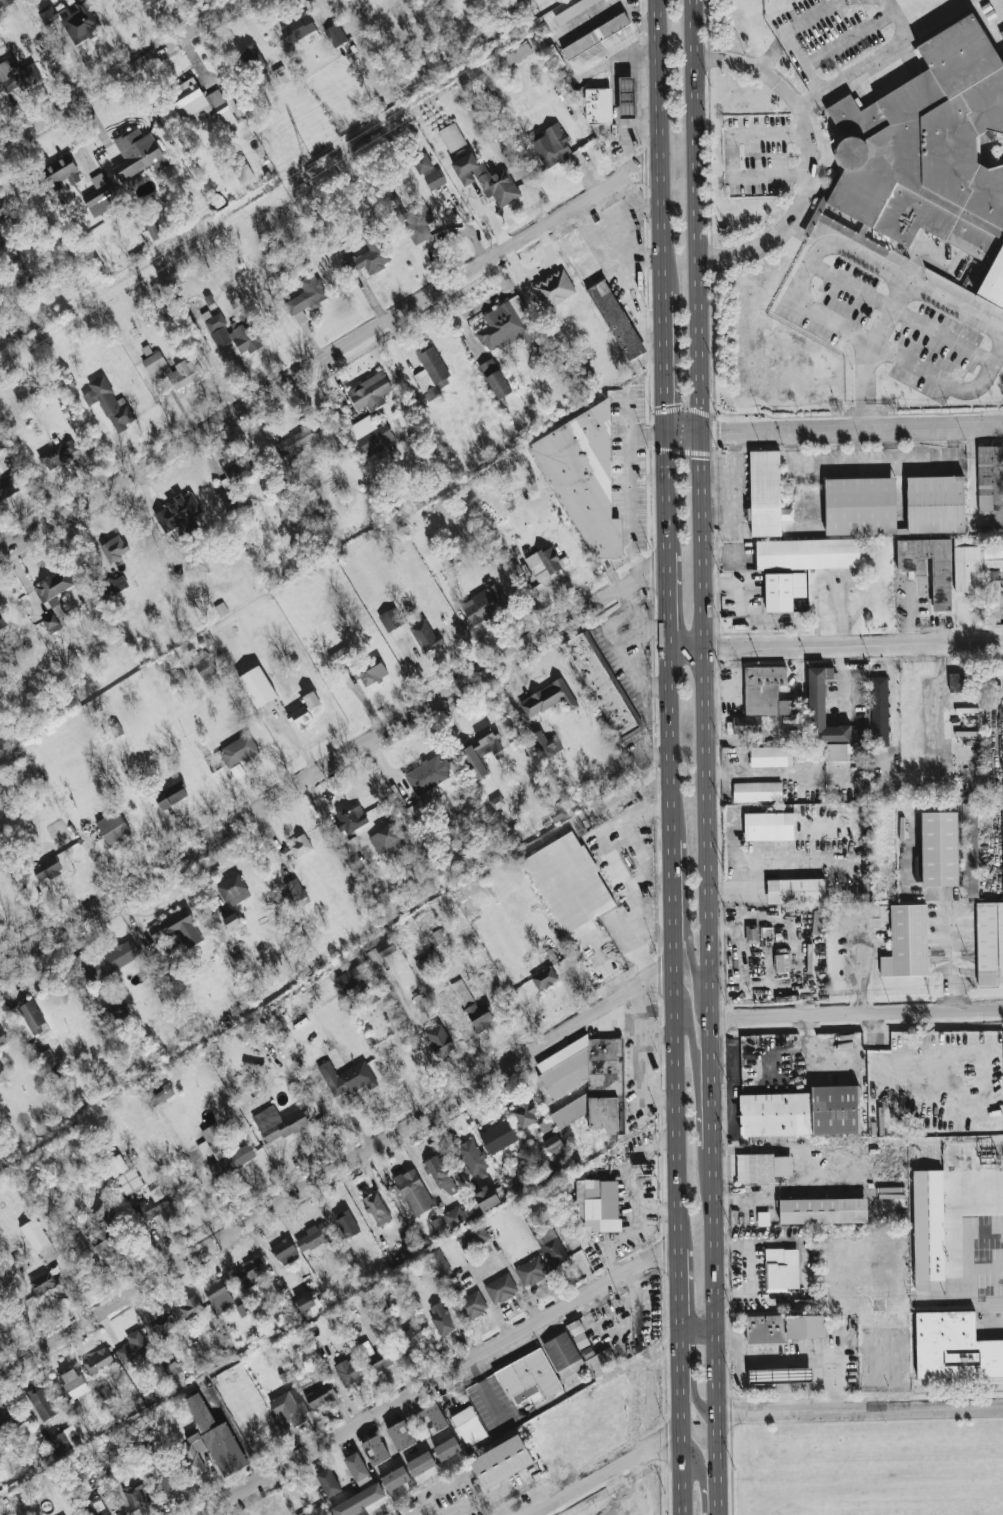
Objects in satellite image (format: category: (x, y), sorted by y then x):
building: (405, 0)
building: (5, 2)
building: (146, 2)
building: (574, 10)
road: (898, 19)
building: (73, 20)
building: (298, 28)
power tower: (544, 31)
building: (1001, 33)
road: (783, 34)
building: (336, 35)
building: (595, 35)
road: (849, 40)
road: (39, 55)
building: (516, 55)
building: (555, 57)
building: (1002, 57)
building: (254, 59)
road: (852, 71)
road: (119, 72)
building: (17, 74)
building: (627, 97)
building: (201, 103)
building: (598, 105)
building: (451, 136)
road: (659, 137)
building: (553, 146)
building: (931, 151)
building: (137, 153)
road: (732, 156)
road: (811, 157)
building: (422, 163)
building: (242, 171)
power tower: (314, 174)
building: (485, 178)
building: (434, 179)
building: (100, 196)
building: (4, 209)
building: (411, 219)
building: (151, 232)
road: (846, 249)
road: (924, 249)
building: (371, 253)
building: (553, 288)
building: (601, 292)
building: (306, 297)
power tower: (92, 307)
road: (888, 311)
road: (901, 314)
building: (507, 324)
building: (235, 333)
road: (664, 353)
road: (330, 359)
building: (173, 369)
building: (431, 372)
building: (586, 376)
building: (494, 378)
road: (945, 382)
road: (864, 385)
building: (370, 391)
building: (109, 402)
road: (628, 416)
road: (852, 429)
road: (684, 433)
traffic signals: (702, 433)
traffic signals: (666, 434)
building: (371, 435)
building: (298, 439)
building: (58, 453)
building: (239, 471)
building: (584, 477)
building: (991, 481)
building: (8, 485)
road: (629, 487)
building: (766, 493)
road: (667, 503)
building: (937, 504)
building: (862, 506)
building: (178, 511)
building: (114, 548)
building: (808, 553)
building: (993, 553)
building: (544, 562)
building: (967, 564)
building: (114, 583)
building: (52, 587)
building: (942, 590)
building: (780, 592)
building: (993, 595)
road: (748, 599)
building: (484, 603)
road: (668, 612)
road: (910, 615)
building: (391, 619)
building: (2, 621)
building: (50, 623)
building: (425, 635)
road: (835, 646)
building: (341, 655)
building: (208, 668)
building: (370, 672)
building: (957, 682)
building: (257, 686)
building: (602, 686)
building: (857, 687)
building: (547, 697)
building: (761, 698)
building: (311, 700)
road: (890, 706)
building: (822, 711)
building: (879, 711)
building: (300, 715)
building: (545, 744)
building: (238, 750)
building: (481, 750)
building: (837, 752)
building: (769, 756)
road: (709, 757)
road: (333, 762)
building: (237, 770)
building: (428, 774)
road: (759, 778)
building: (757, 791)
building: (171, 794)
building: (0, 798)
building: (495, 802)
building: (414, 811)
building: (1002, 817)
building: (352, 818)
building: (769, 826)
building: (113, 827)
building: (385, 839)
building: (295, 848)
building: (940, 849)
building: (970, 850)
road: (766, 866)
building: (46, 868)
road: (619, 868)
building: (918, 868)
building: (568, 881)
building: (233, 889)
building: (797, 891)
building: (295, 893)
building: (0, 908)
building: (231, 920)
building: (176, 928)
road: (687, 928)
building: (751, 932)
building: (437, 936)
building: (908, 941)
building: (990, 943)
building: (380, 951)
road: (739, 954)
building: (108, 960)
road: (953, 961)
building: (428, 963)
building: (782, 963)
building: (352, 976)
building: (544, 977)
building: (373, 992)
building: (421, 1002)
building: (472, 1007)
road: (858, 1014)
building: (29, 1018)
road: (417, 1033)
building: (2, 1039)
building: (439, 1039)
road: (397, 1049)
road: (851, 1053)
road: (793, 1055)
building: (1, 1068)
building: (346, 1078)
road: (676, 1083)
road: (733, 1087)
building: (605, 1088)
building: (164, 1093)
road: (697, 1094)
building: (803, 1112)
road: (327, 1113)
building: (524, 1114)
building: (279, 1123)
building: (497, 1136)
building: (214, 1137)
building: (552, 1143)
building: (472, 1157)
building: (231, 1160)
building: (762, 1167)
road: (334, 1170)
road: (812, 1170)
building: (123, 1174)
building: (441, 1176)
building: (413, 1191)
building: (486, 1197)
building: (939, 1198)
building: (158, 1202)
building: (598, 1204)
building: (377, 1208)
building: (823, 1210)
building: (460, 1215)
building: (346, 1224)
building: (439, 1226)
building: (34, 1234)
building: (312, 1237)
building: (473, 1237)
building: (105, 1243)
building: (551, 1246)
road: (971, 1247)
building: (285, 1250)
building: (438, 1262)
road: (490, 1265)
road: (746, 1268)
building: (781, 1269)
building: (532, 1270)
building: (251, 1271)
building: (42, 1282)
building: (500, 1287)
building: (218, 1294)
building: (305, 1302)
building: (470, 1305)
building: (190, 1307)
building: (440, 1318)
building: (164, 1322)
building: (786, 1327)
road: (698, 1331)
building: (407, 1340)
building: (132, 1346)
building: (955, 1347)
building: (577, 1355)
road: (797, 1355)
road: (798, 1360)
building: (98, 1361)
building: (377, 1361)
road: (764, 1361)
road: (781, 1361)
building: (168, 1363)
building: (350, 1371)
road: (798, 1373)
road: (765, 1374)
road: (781, 1374)
building: (780, 1375)
building: (527, 1378)
road: (441, 1379)
road: (690, 1379)
road: (799, 1382)
building: (73, 1383)
road: (765, 1383)
road: (776, 1386)
building: (104, 1392)
building: (322, 1396)
road: (782, 1396)
building: (41, 1402)
building: (288, 1405)
building: (73, 1408)
road: (860, 1409)
building: (10, 1417)
building: (433, 1418)
building: (468, 1425)
building: (400, 1435)
building: (216, 1437)
road: (237, 1438)
building: (63, 1441)
building: (0, 1448)
building: (447, 1448)
building: (0, 1449)
building: (375, 1449)
building: (192, 1455)
building: (501, 1461)
building: (420, 1463)
building: (108, 1465)
building: (357, 1469)
road: (605, 1473)
road: (702, 1476)
building: (395, 1478)
building: (163, 1479)
building: (329, 1482)
building: (134, 1494)
building: (358, 1501)
building: (96, 1507)
building: (317, 1511)

